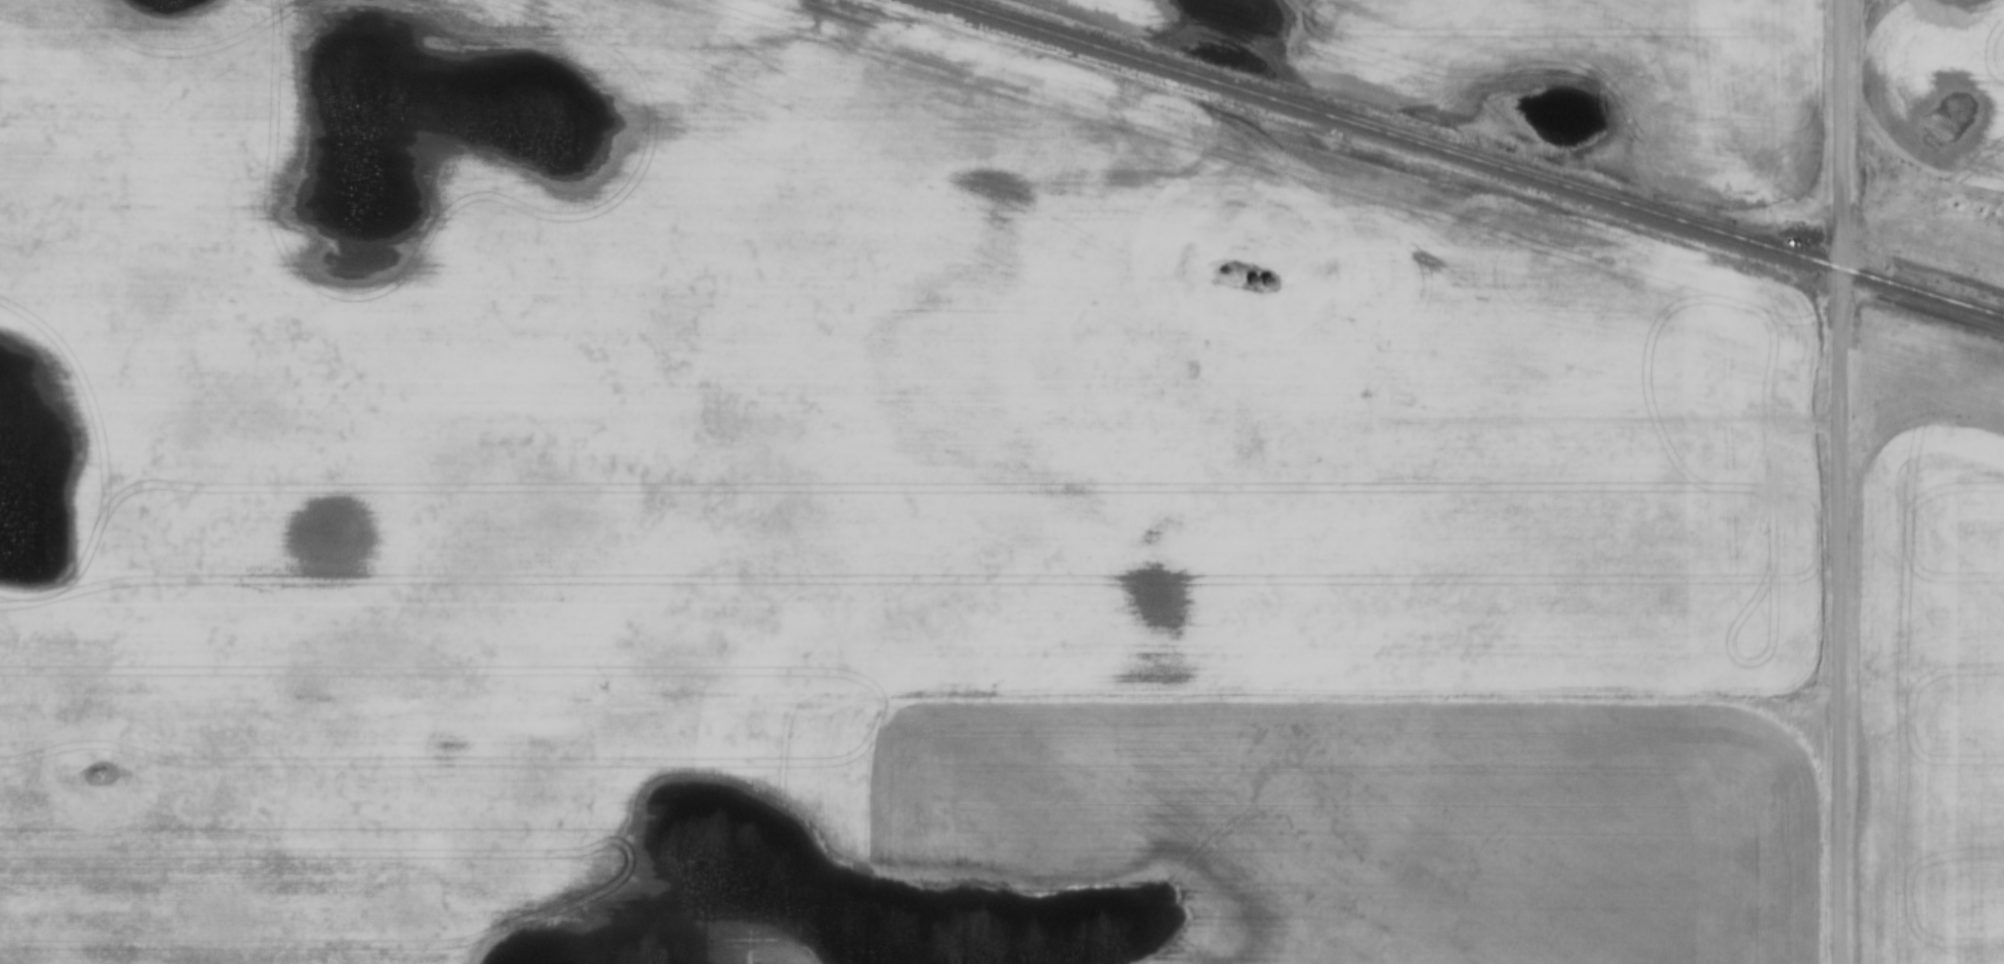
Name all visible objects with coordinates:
crop: (1570, 69)
railway: (1468, 158)
crop: (833, 372)
road: (1839, 482)

